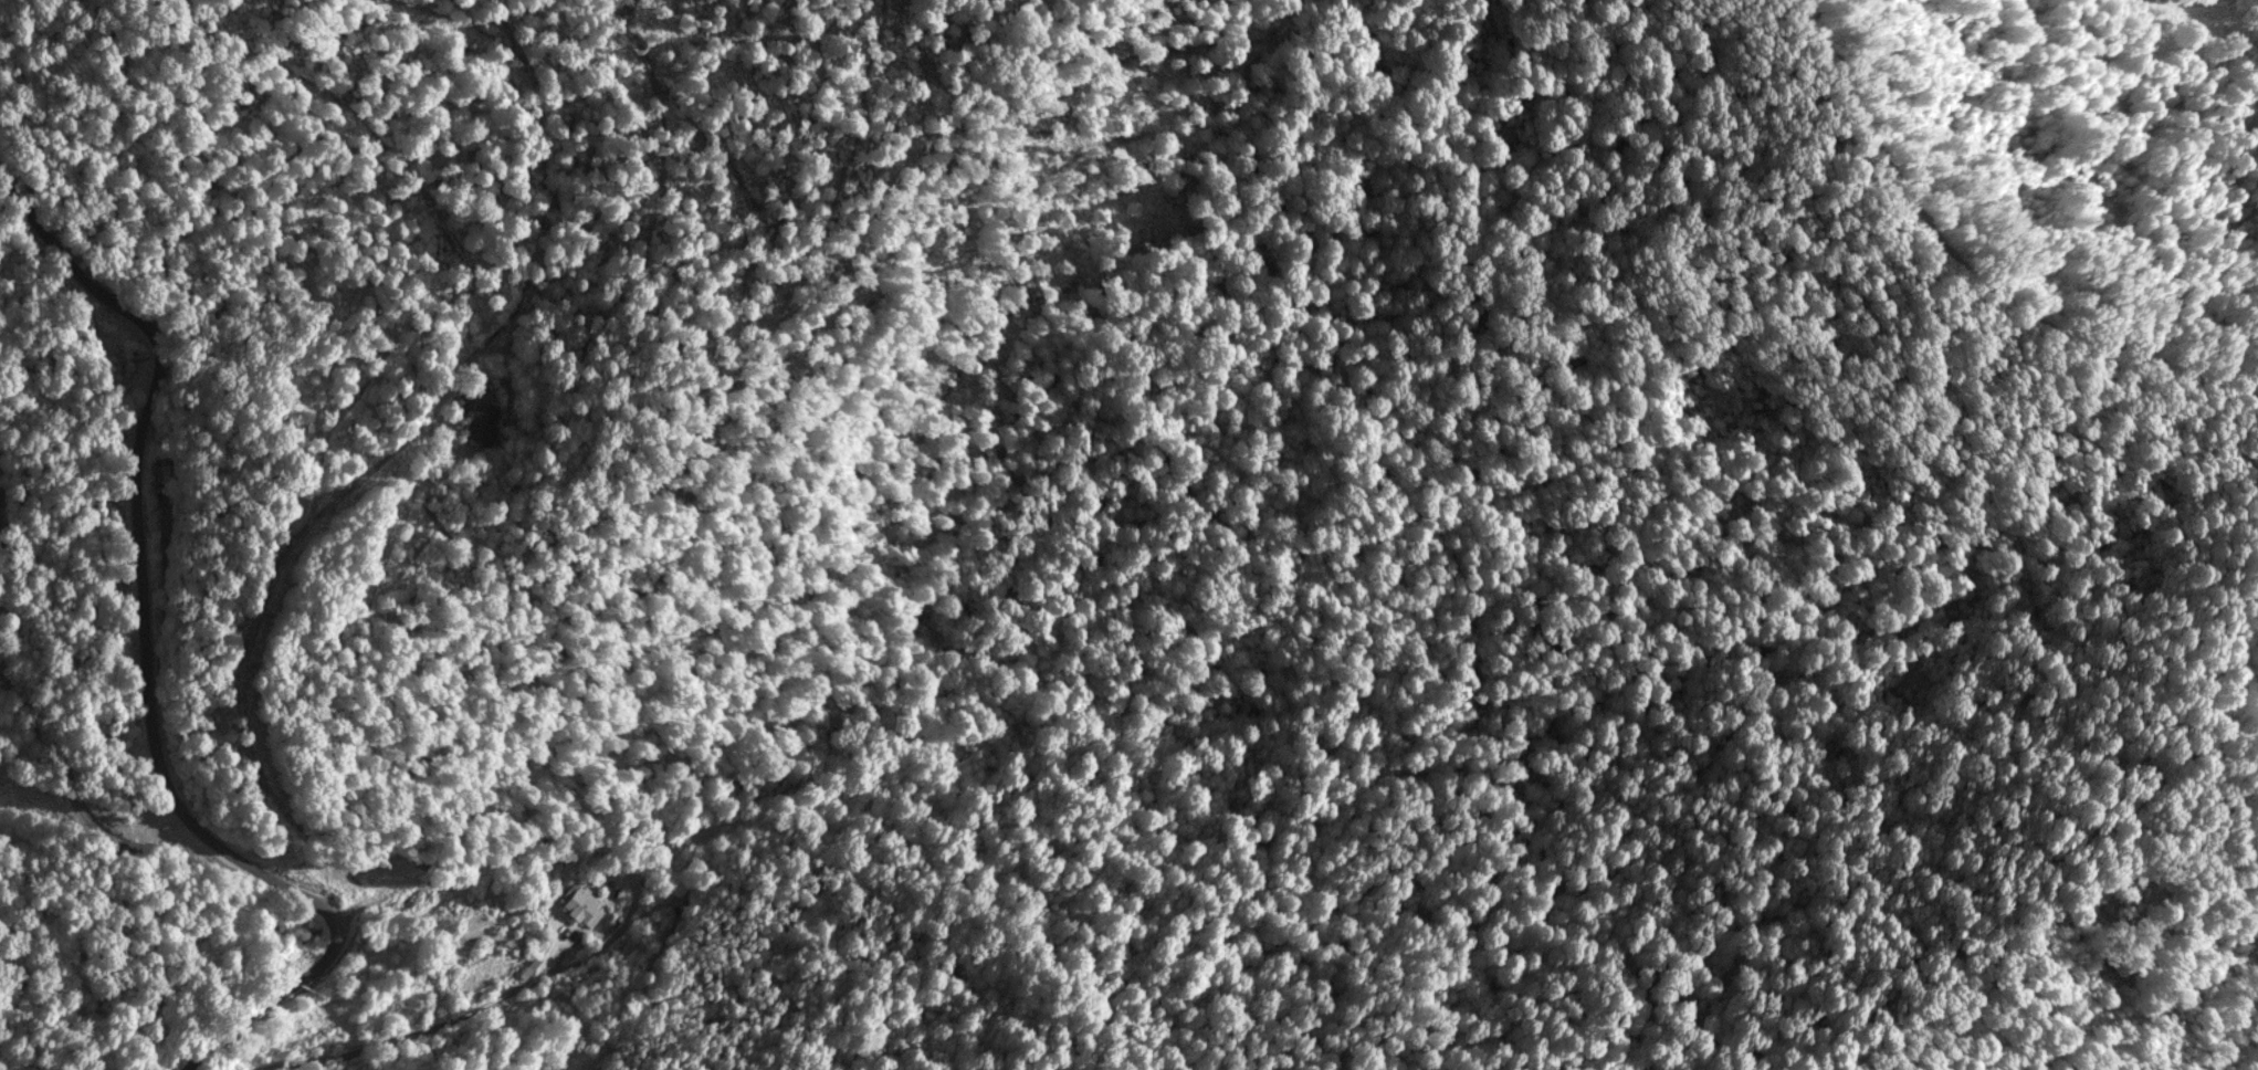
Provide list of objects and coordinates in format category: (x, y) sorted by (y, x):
building: (483, 422)
road: (2246, 466)
road: (118, 657)
building: (581, 906)

